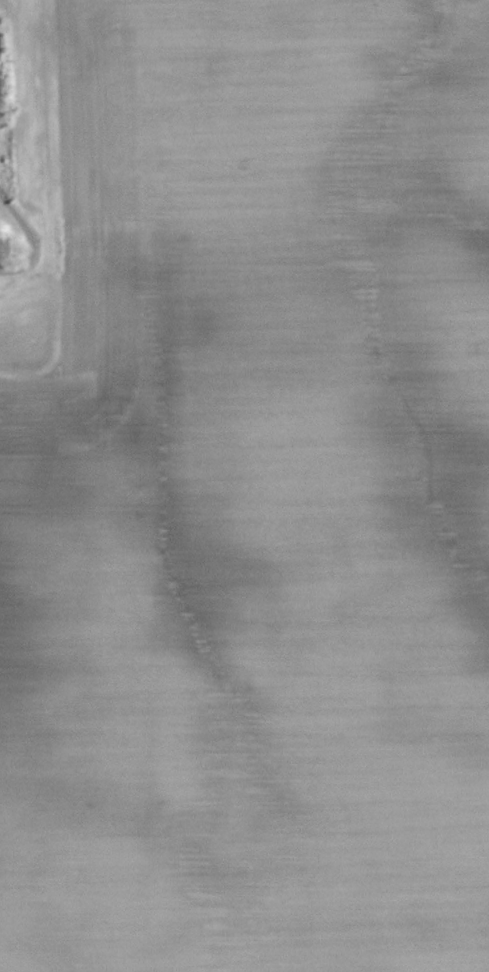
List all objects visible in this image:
road: (33, 236)

